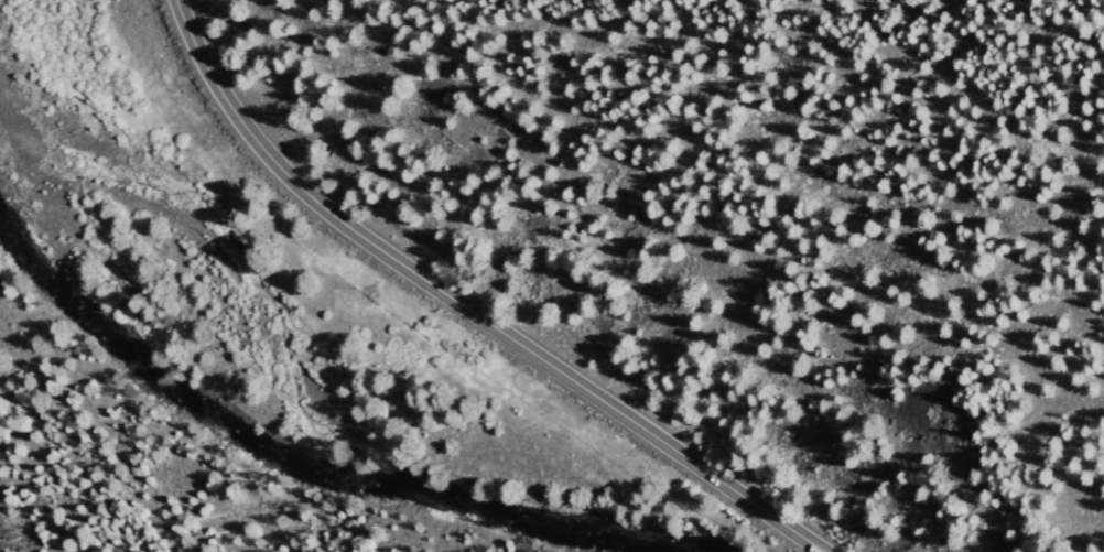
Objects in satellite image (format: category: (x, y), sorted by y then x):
road: (468, 307)
river: (301, 474)

